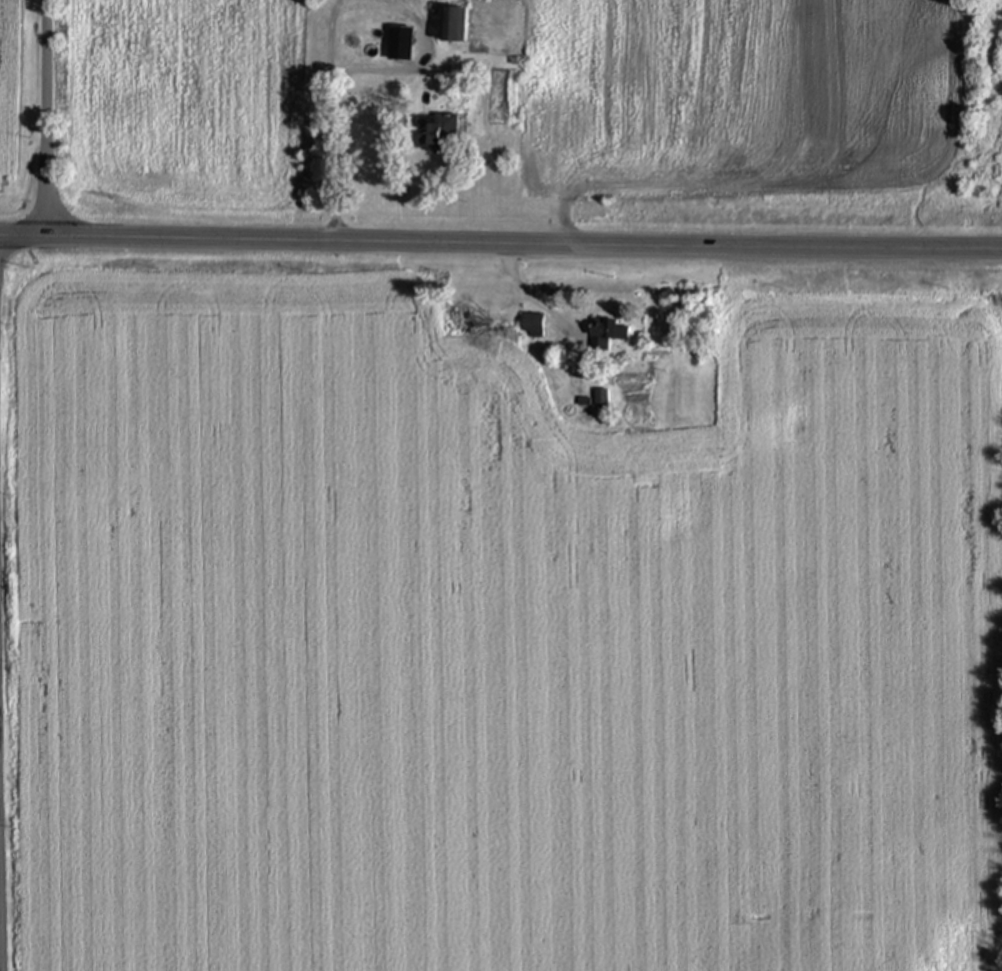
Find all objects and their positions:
road: (334, 22)
building: (455, 28)
building: (400, 46)
road: (47, 117)
building: (435, 133)
road: (500, 246)
building: (607, 333)
building: (602, 399)

